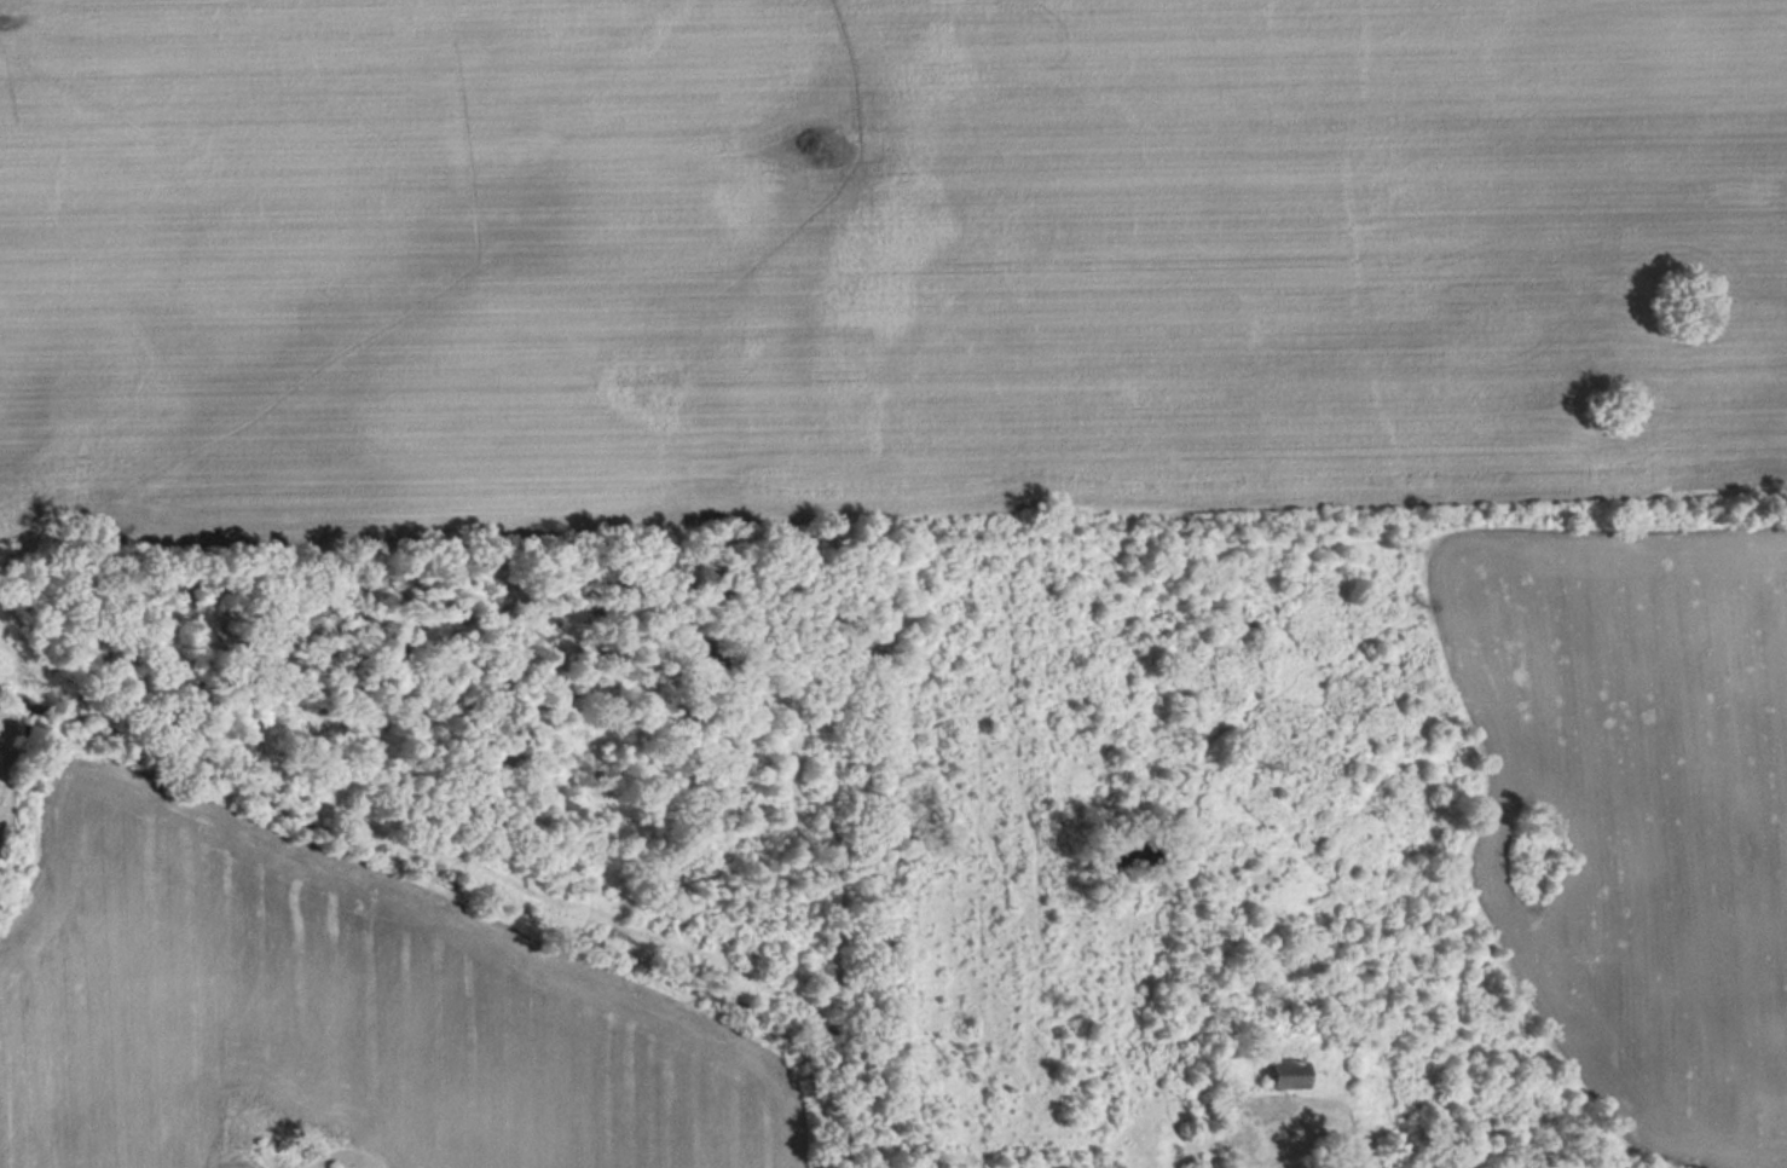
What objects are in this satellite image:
building: (1292, 1074)

